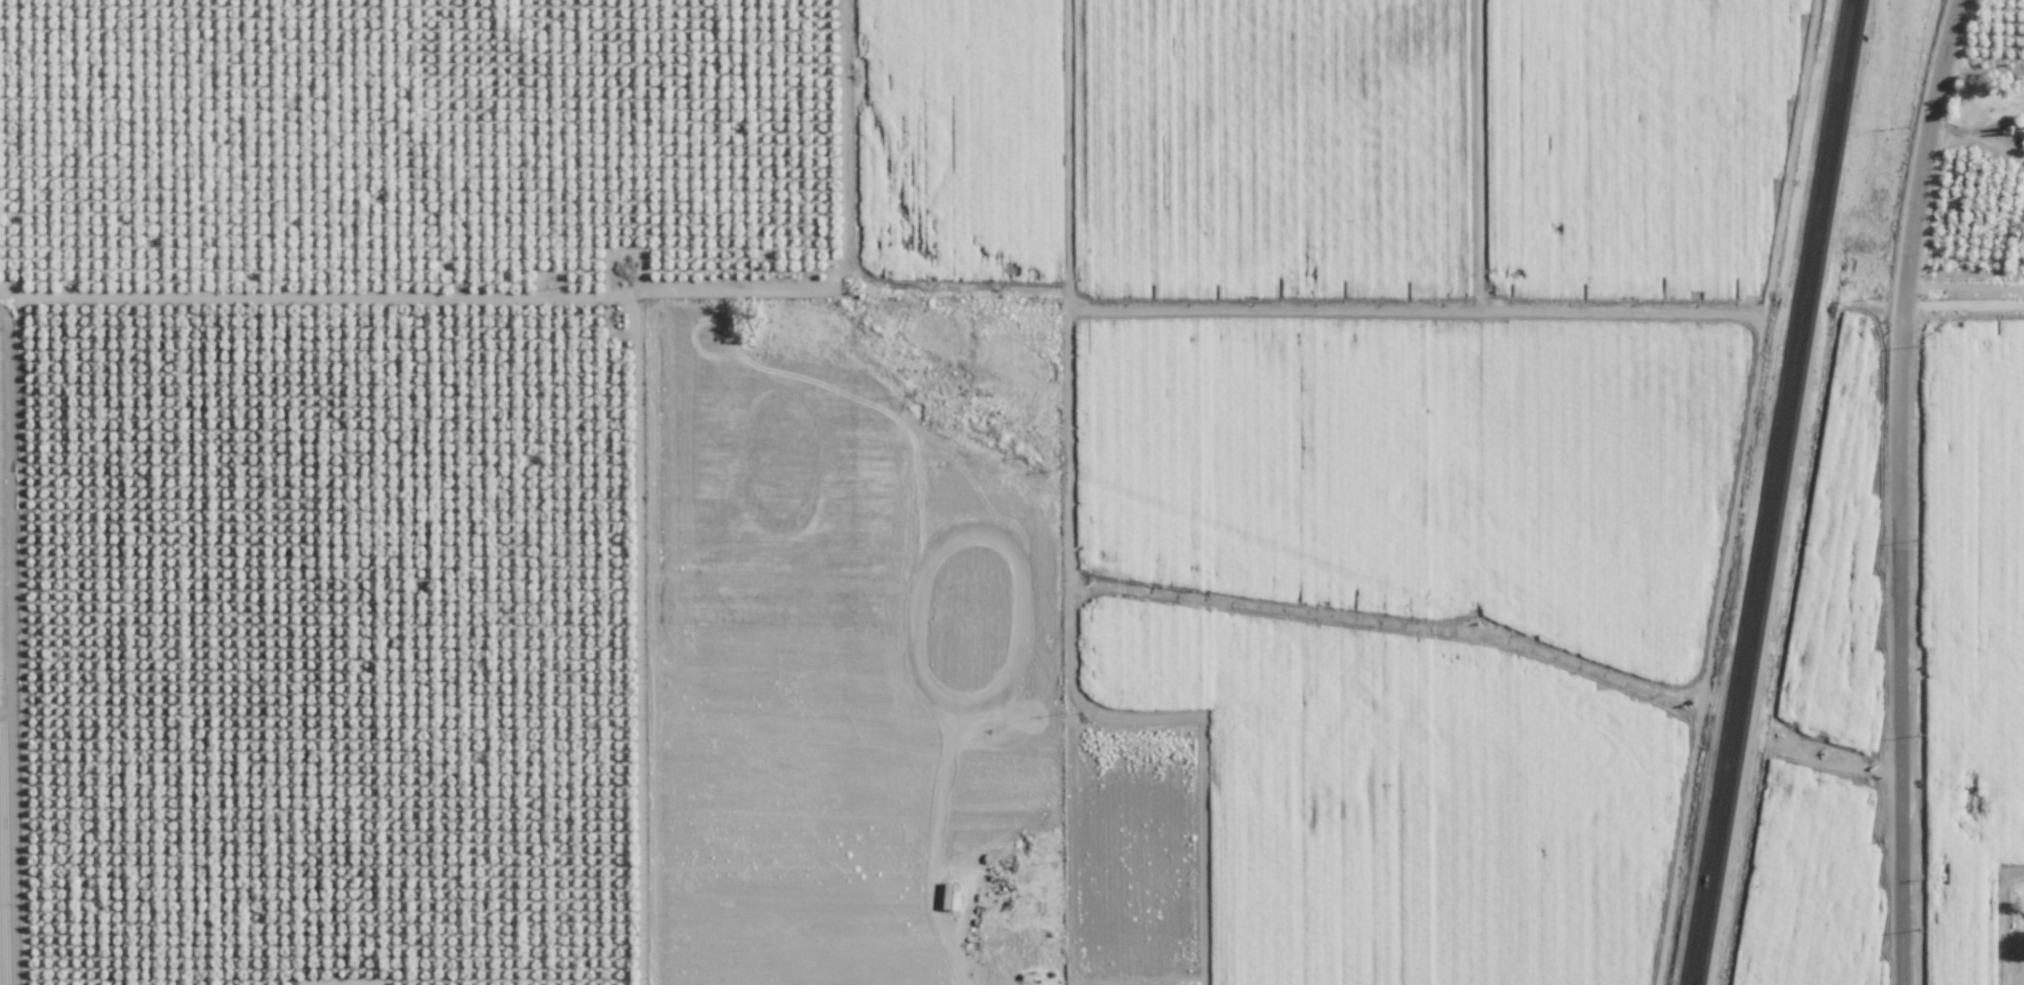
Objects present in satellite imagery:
road: (1954, 62)
crop: (960, 145)
road: (1964, 279)
crop: (365, 459)
road: (1775, 492)
crop: (1250, 508)
road: (1905, 553)
crop: (1973, 659)
crop: (9, 670)

